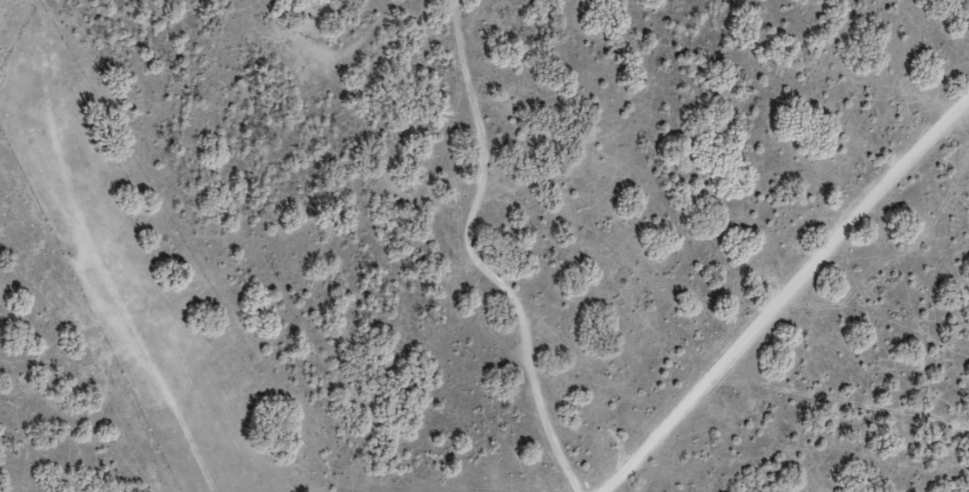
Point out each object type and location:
airport runway: (125, 289)
road: (782, 294)

